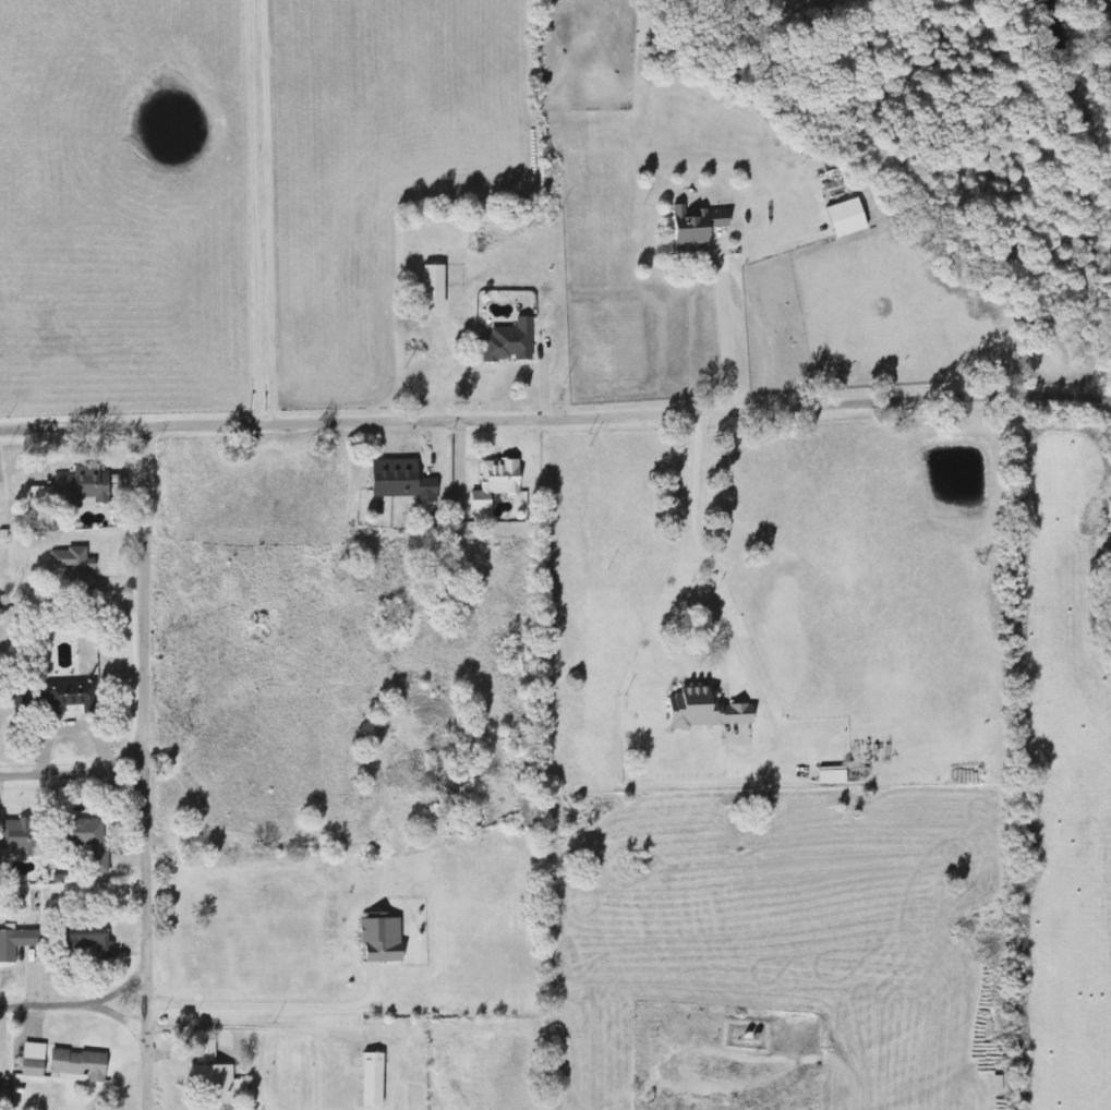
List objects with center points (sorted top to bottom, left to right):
building: (847, 218)
building: (697, 225)
building: (434, 287)
building: (510, 342)
road: (628, 415)
road: (72, 425)
building: (402, 482)
building: (497, 482)
building: (83, 488)
building: (41, 497)
building: (74, 566)
building: (58, 697)
building: (705, 711)
road: (142, 768)
road: (71, 771)
building: (833, 776)
building: (19, 837)
building: (93, 841)
building: (382, 939)
building: (88, 942)
building: (14, 944)
road: (74, 1004)
road: (122, 1016)
building: (206, 1052)
building: (34, 1061)
building: (80, 1066)
building: (373, 1081)
building: (998, 1085)
building: (220, 1086)

